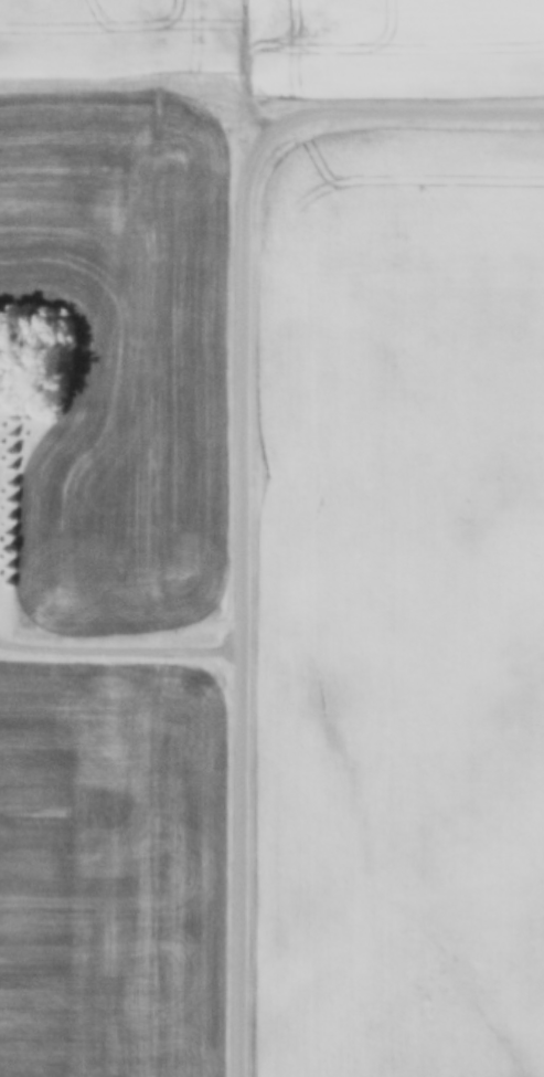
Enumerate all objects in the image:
road: (249, 63)
road: (396, 122)
road: (247, 601)
road: (124, 657)

